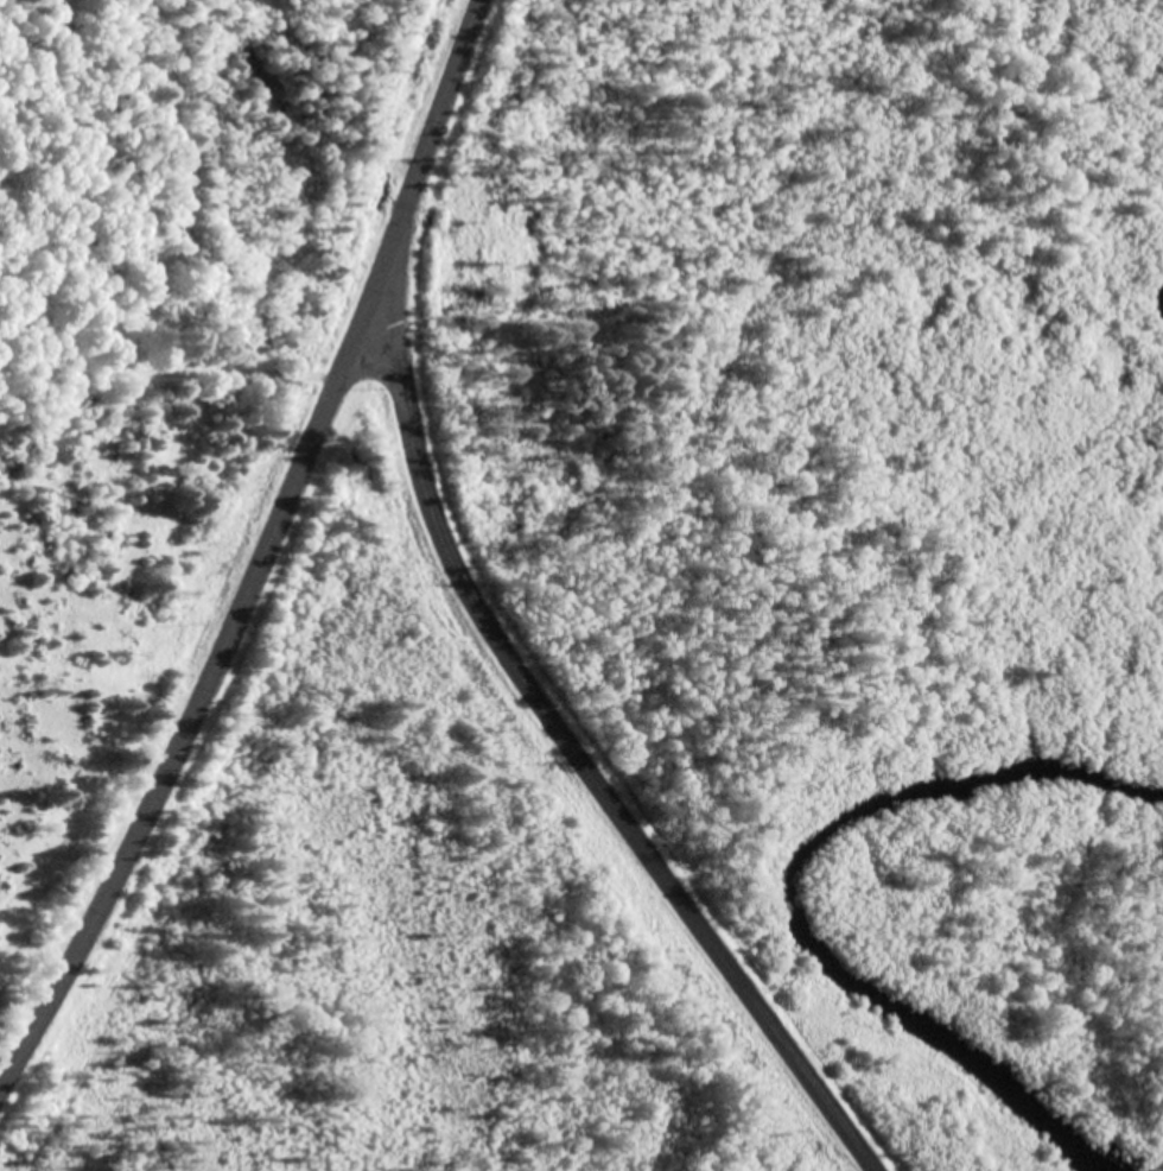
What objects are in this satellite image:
road: (267, 558)
road: (587, 757)

